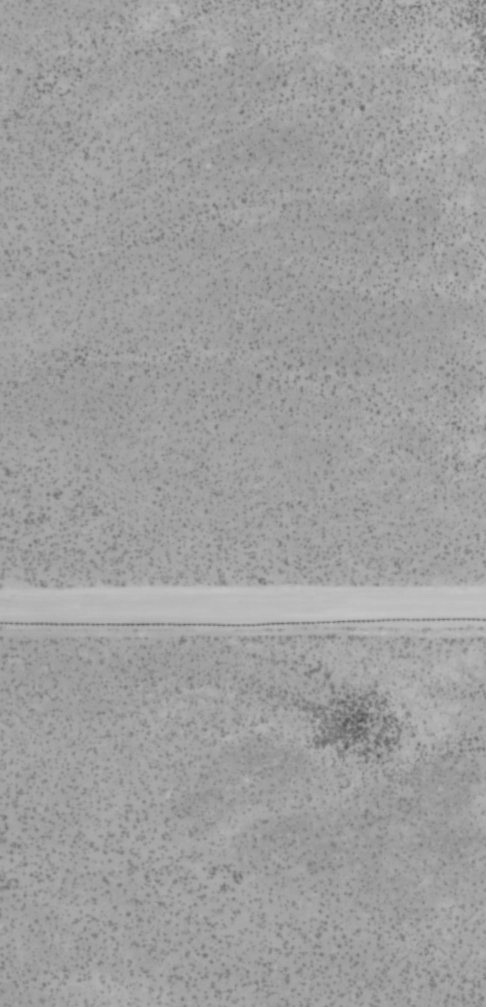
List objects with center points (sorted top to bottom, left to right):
road: (243, 605)

